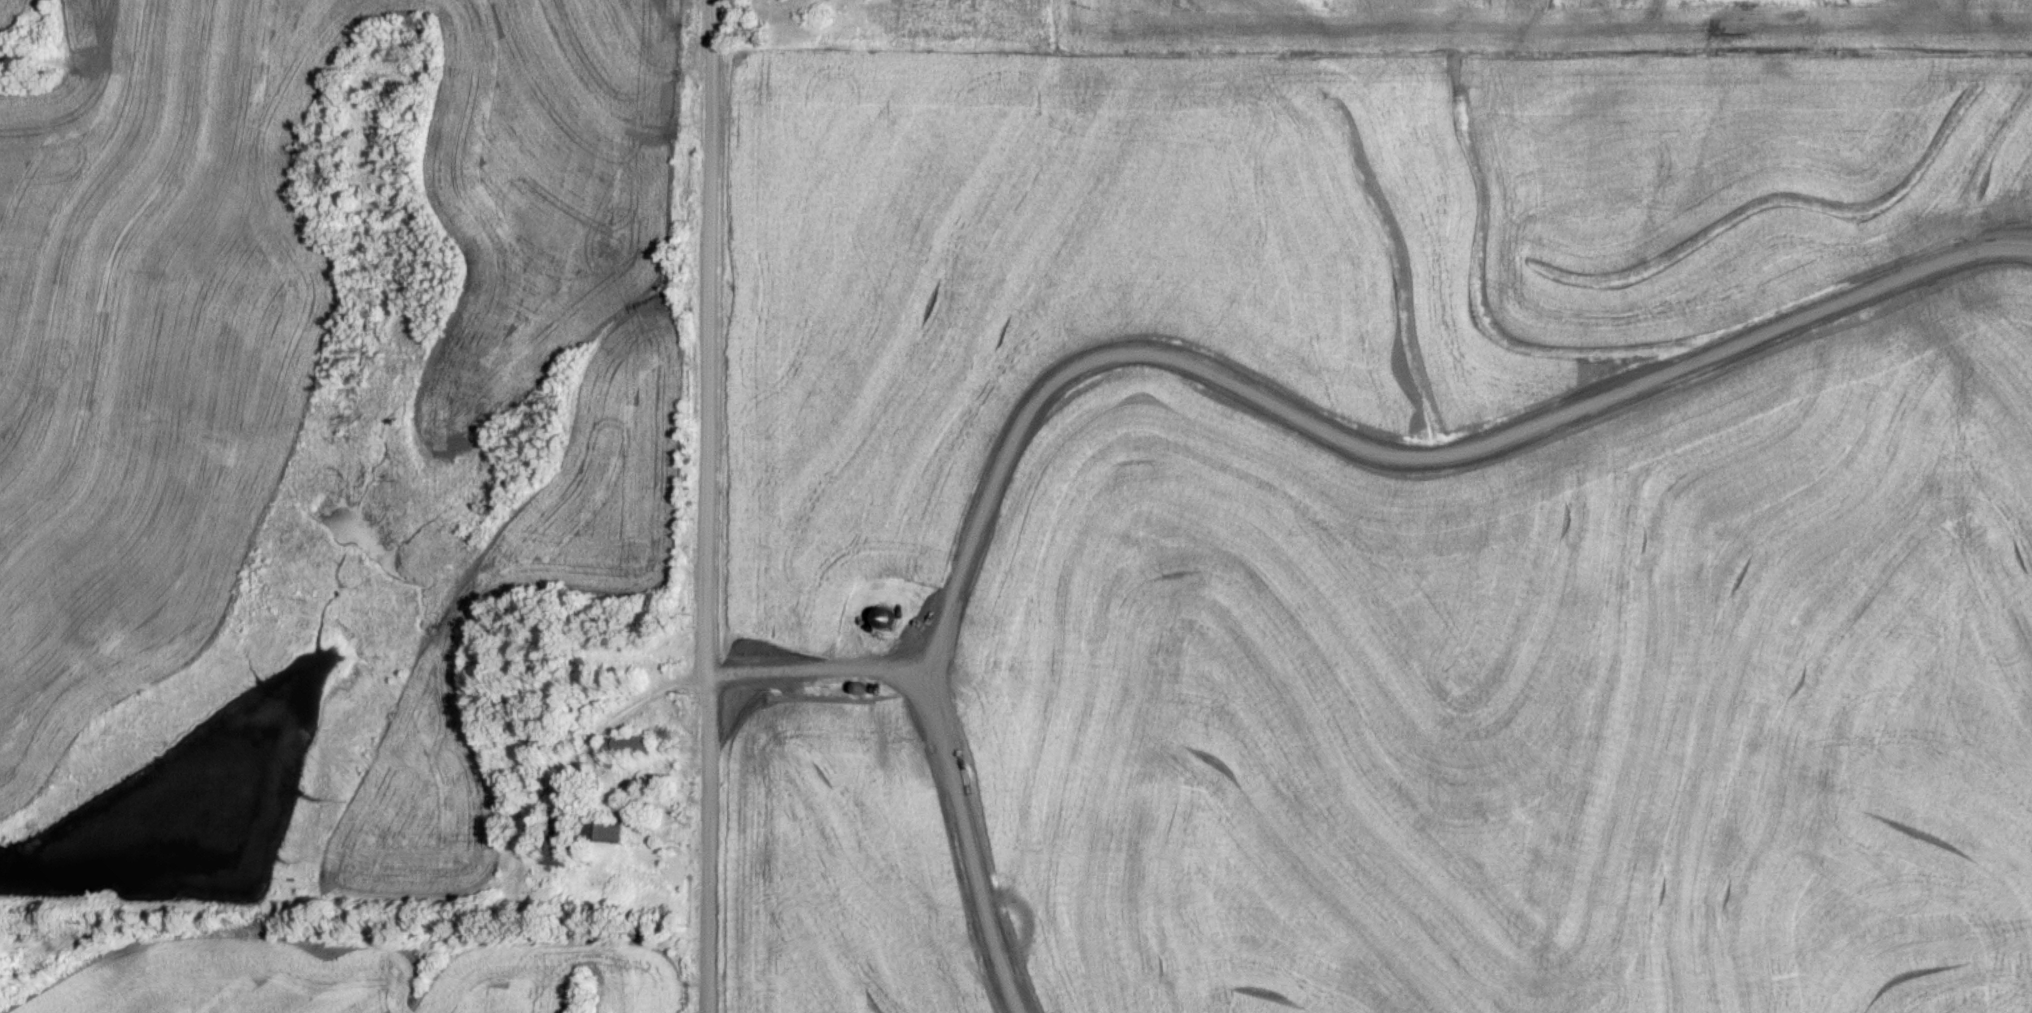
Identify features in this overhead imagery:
road: (692, 506)
building: (880, 617)
building: (621, 745)
building: (595, 828)
building: (551, 839)

